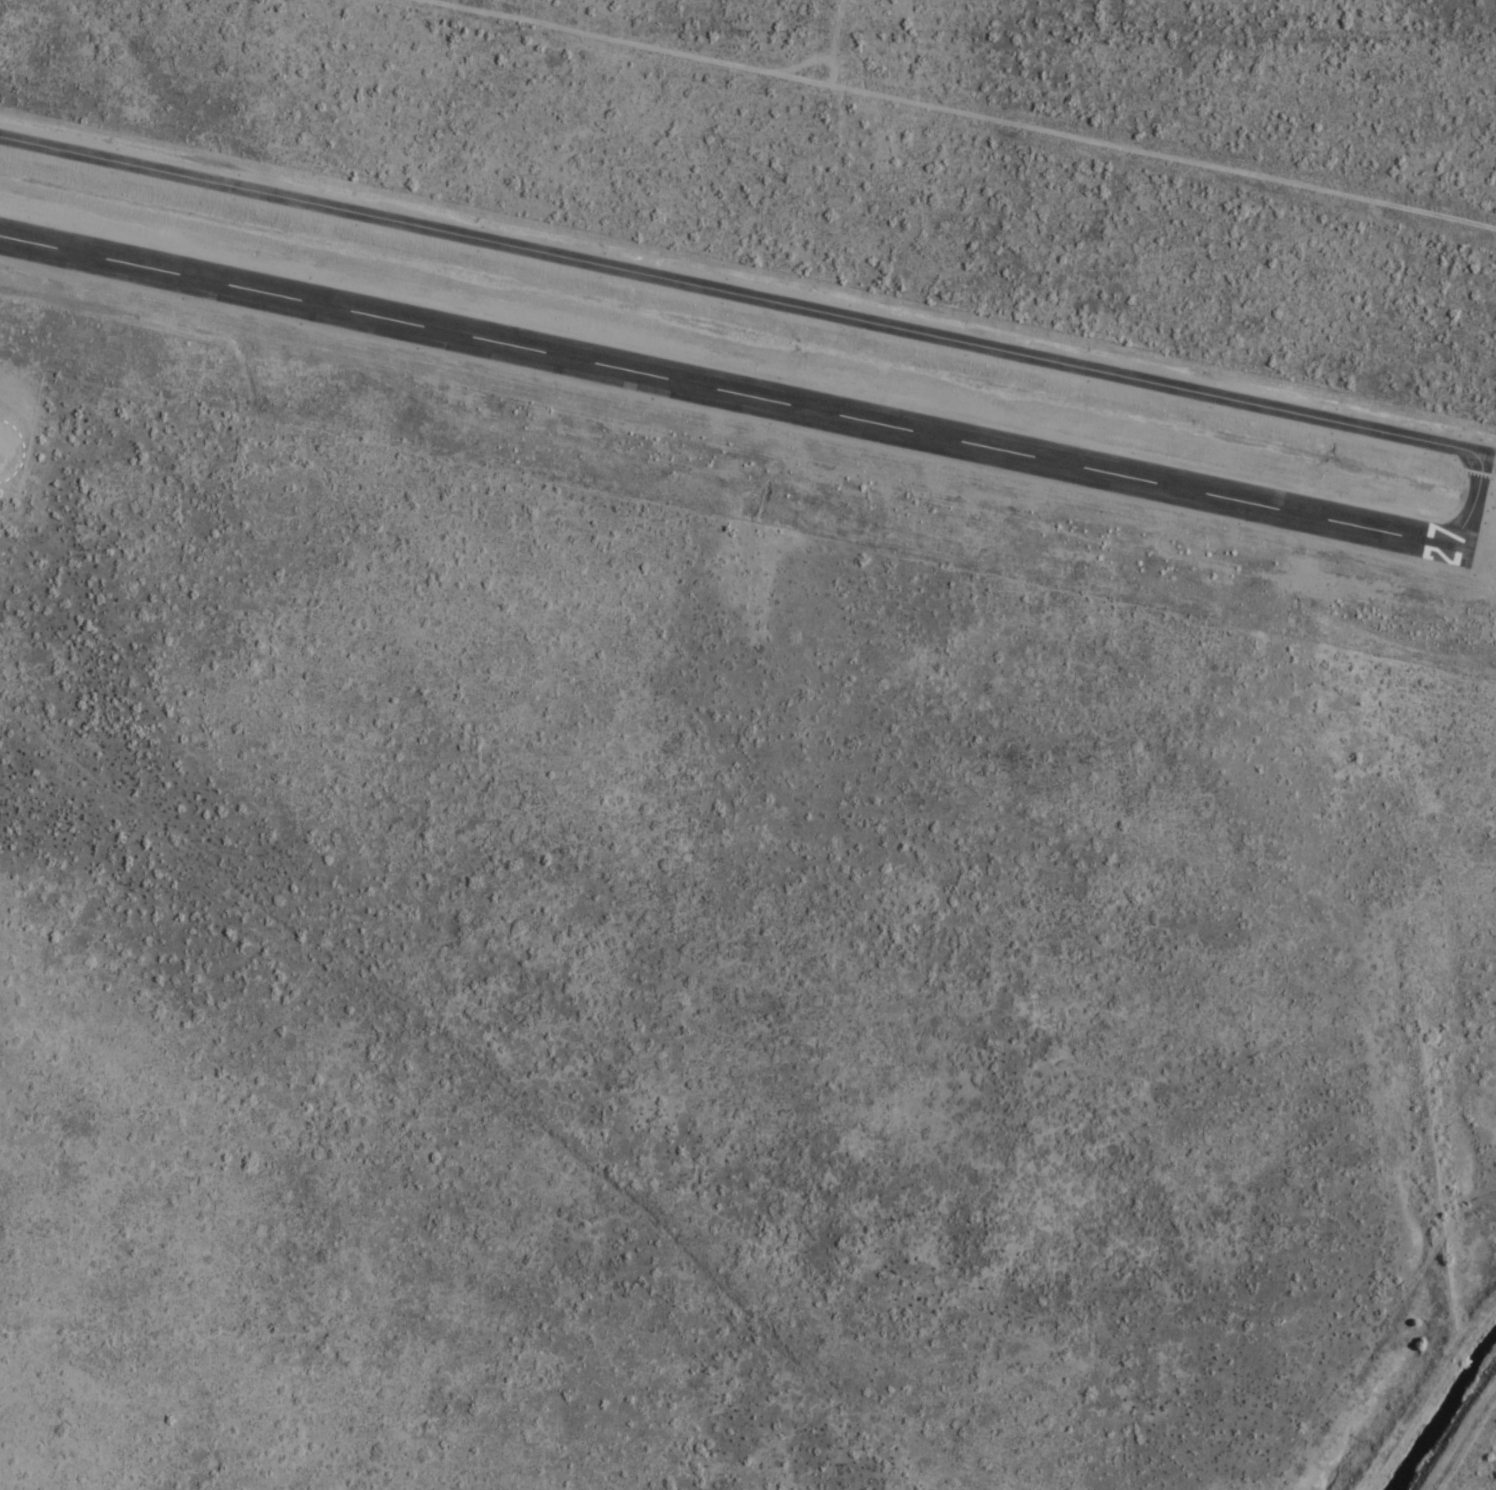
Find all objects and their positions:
road: (963, 111)
airport taxiway: (782, 307)
airport runway: (729, 393)

